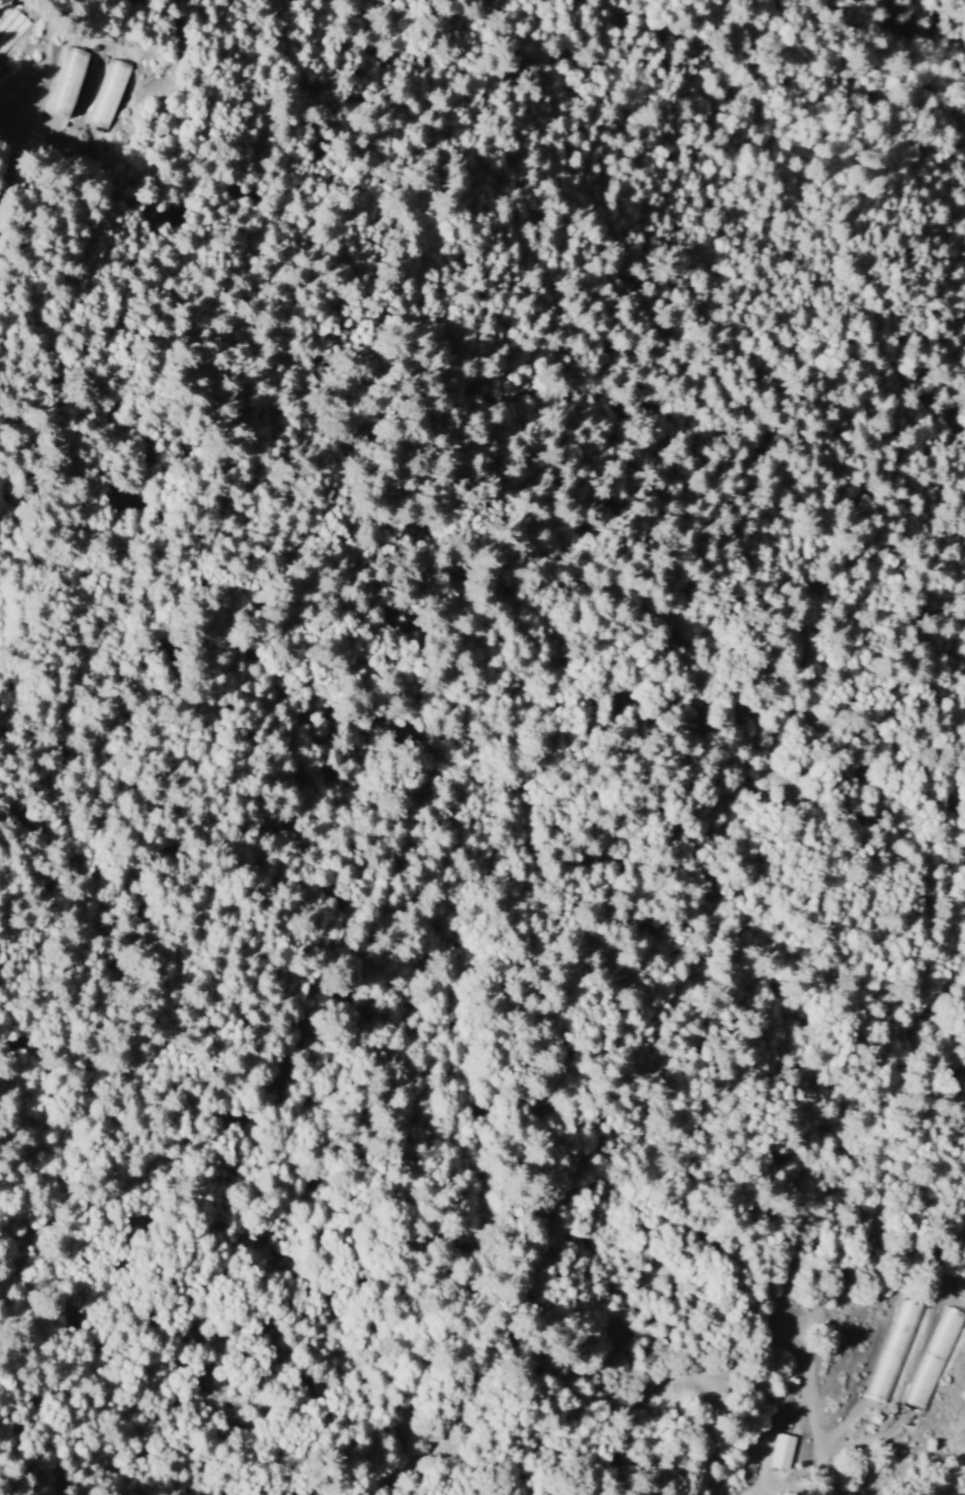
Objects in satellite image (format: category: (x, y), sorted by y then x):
road: (20, 155)
building: (889, 1357)
building: (781, 1452)

